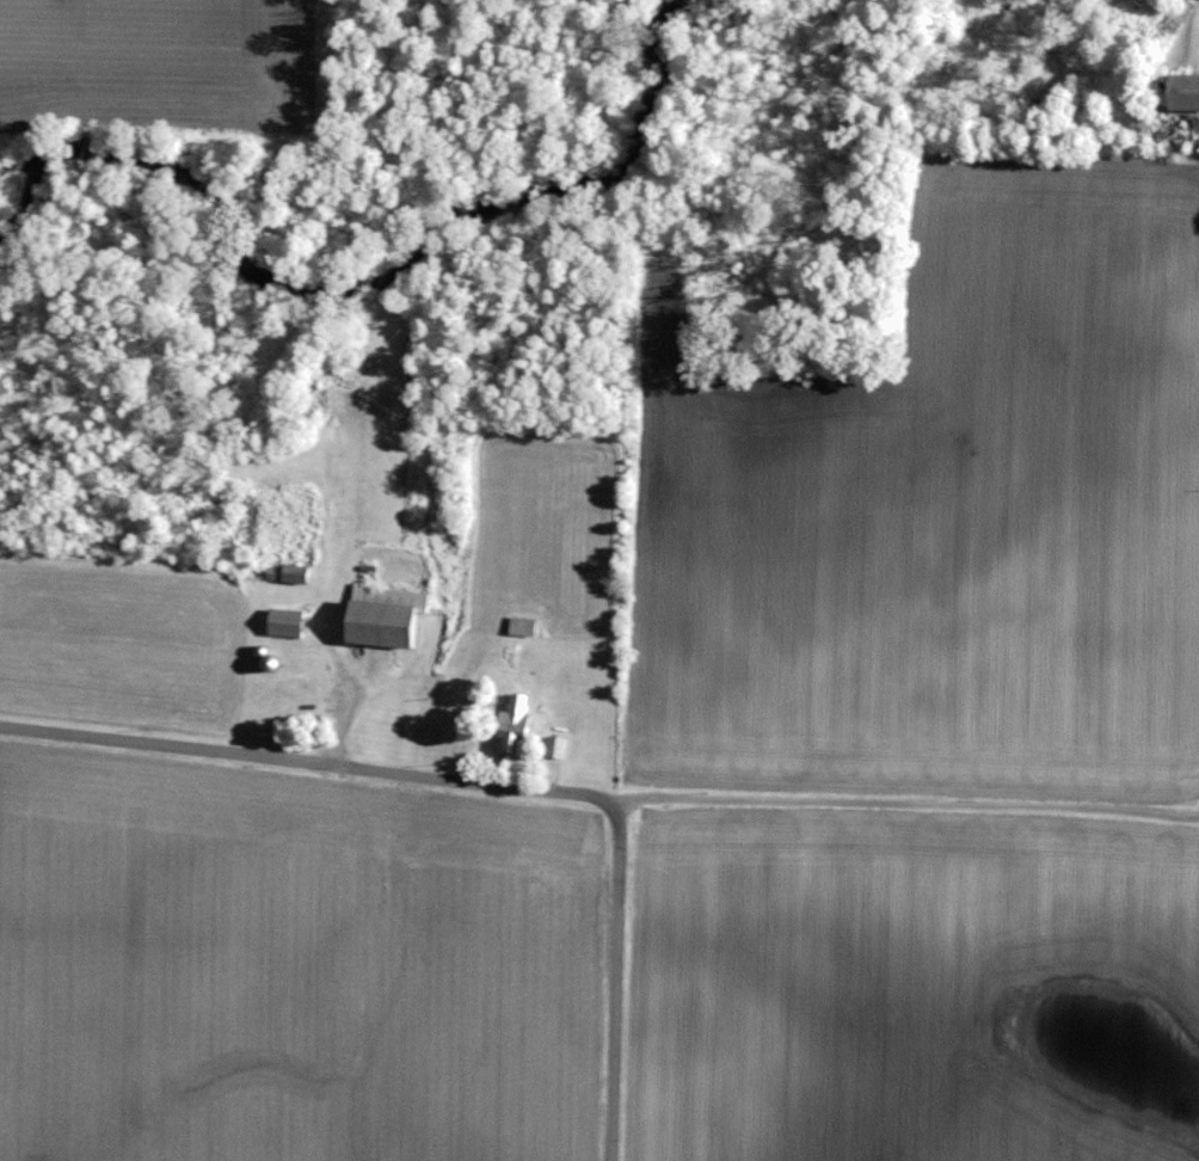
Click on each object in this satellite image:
river: (389, 216)
road: (481, 782)
road: (900, 805)

